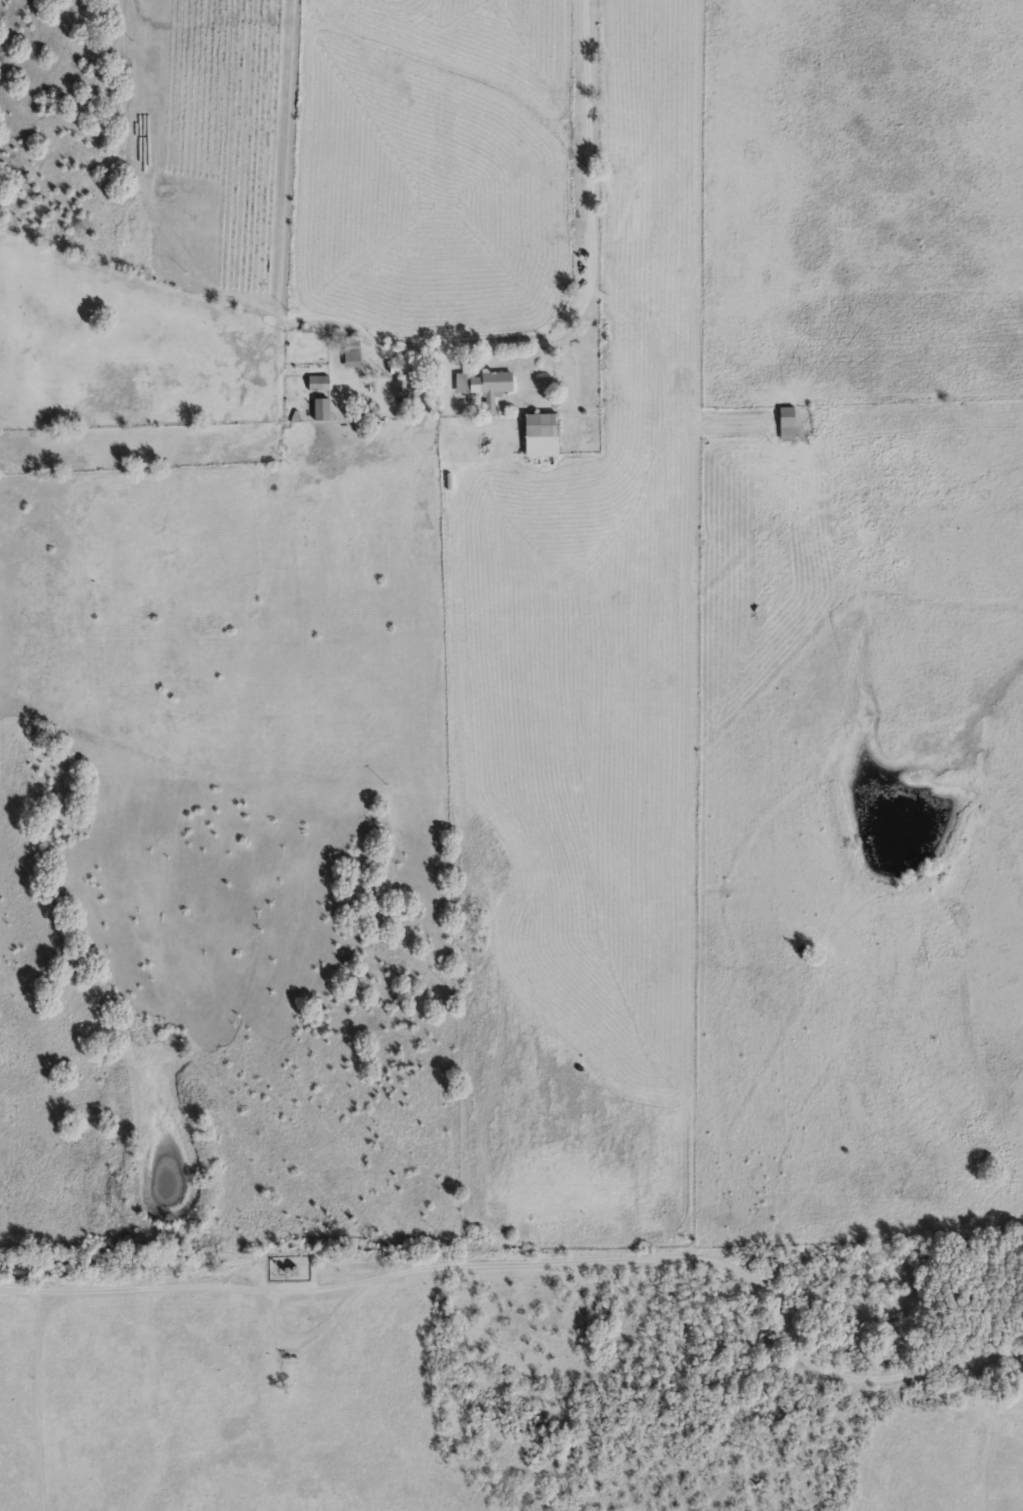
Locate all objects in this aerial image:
road: (589, 229)
building: (351, 351)
building: (399, 367)
building: (317, 382)
building: (485, 385)
building: (404, 391)
building: (320, 408)
building: (784, 422)
building: (538, 434)
road: (538, 1261)

